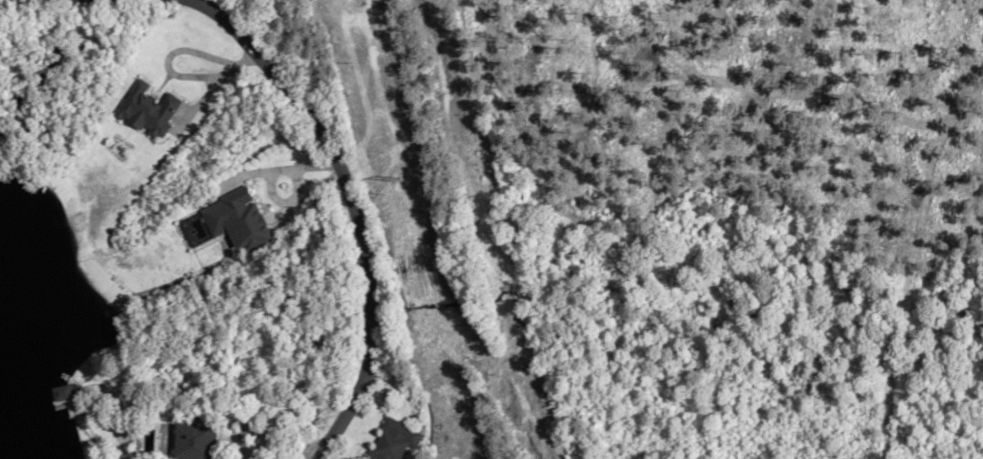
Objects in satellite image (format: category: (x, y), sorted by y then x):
road: (6, 0)
road: (214, 86)
road: (268, 177)
road: (350, 209)
building: (237, 219)
building: (64, 392)
building: (196, 439)
building: (392, 440)

